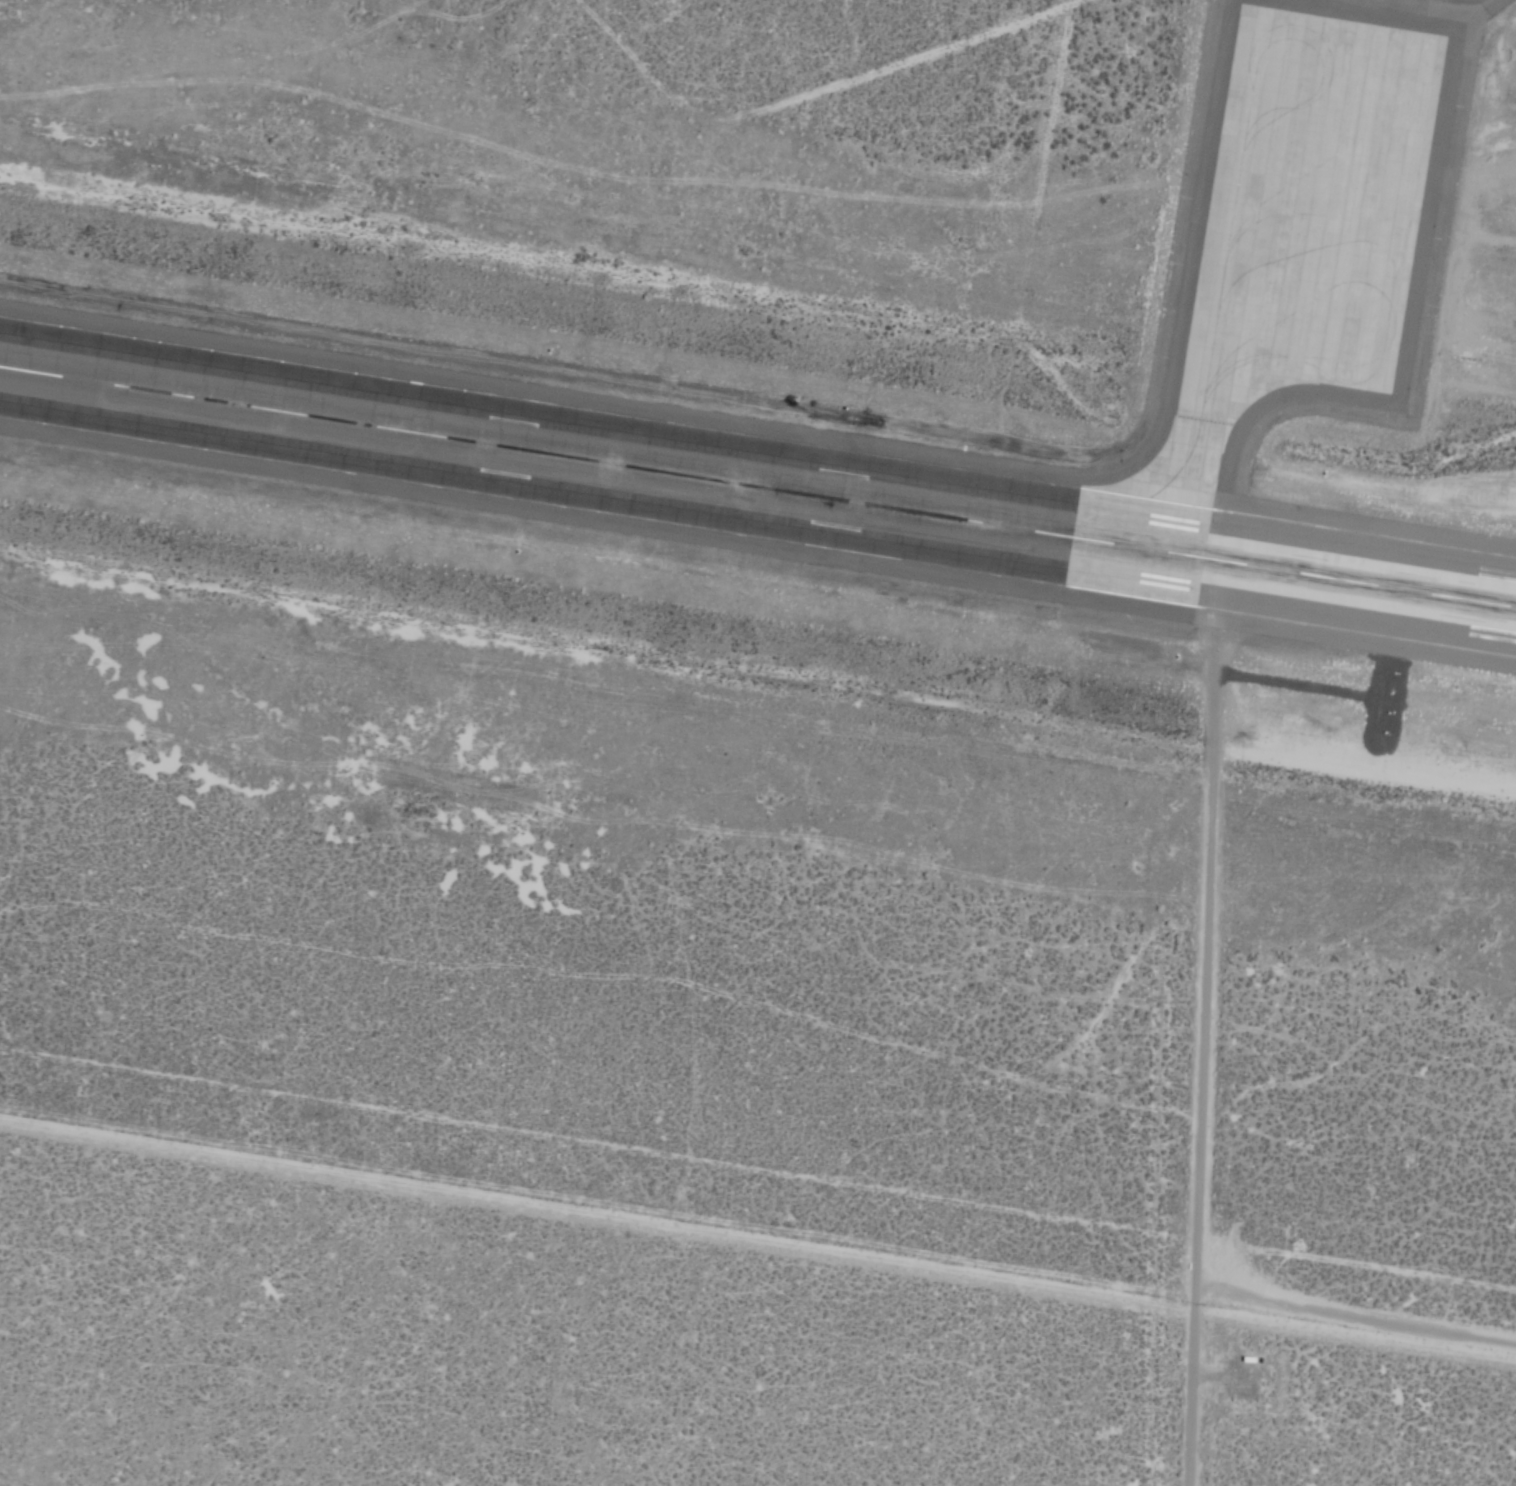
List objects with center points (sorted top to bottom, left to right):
road: (677, 288)
airport runway: (758, 490)
airport: (758, 743)

